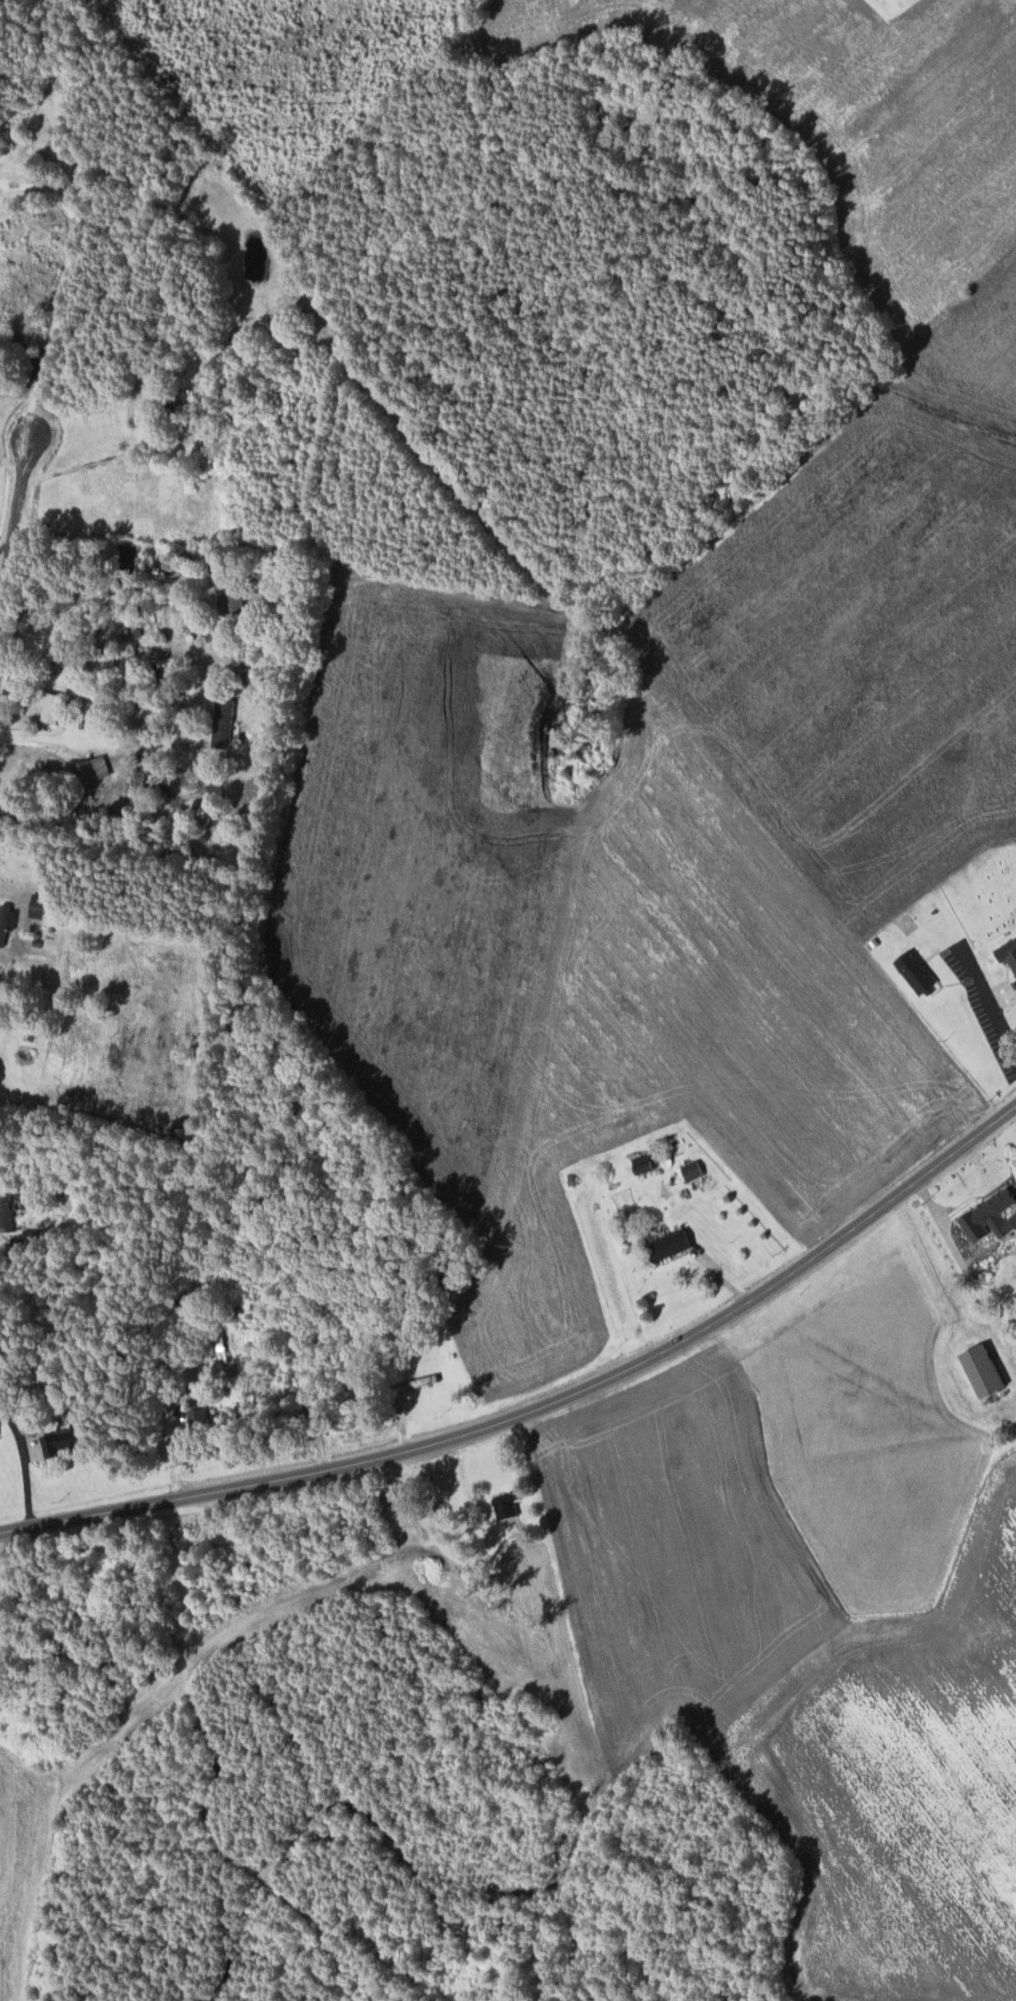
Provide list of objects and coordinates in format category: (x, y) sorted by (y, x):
road: (10, 386)
road: (21, 497)
building: (229, 602)
building: (55, 706)
building: (220, 722)
road: (83, 740)
building: (95, 769)
building: (8, 921)
building: (1011, 961)
building: (911, 970)
building: (640, 1166)
building: (689, 1169)
building: (12, 1210)
building: (986, 1217)
building: (669, 1243)
building: (217, 1353)
building: (977, 1369)
road: (544, 1402)
building: (196, 1416)
building: (0, 1431)
building: (72, 1440)
building: (502, 1507)

